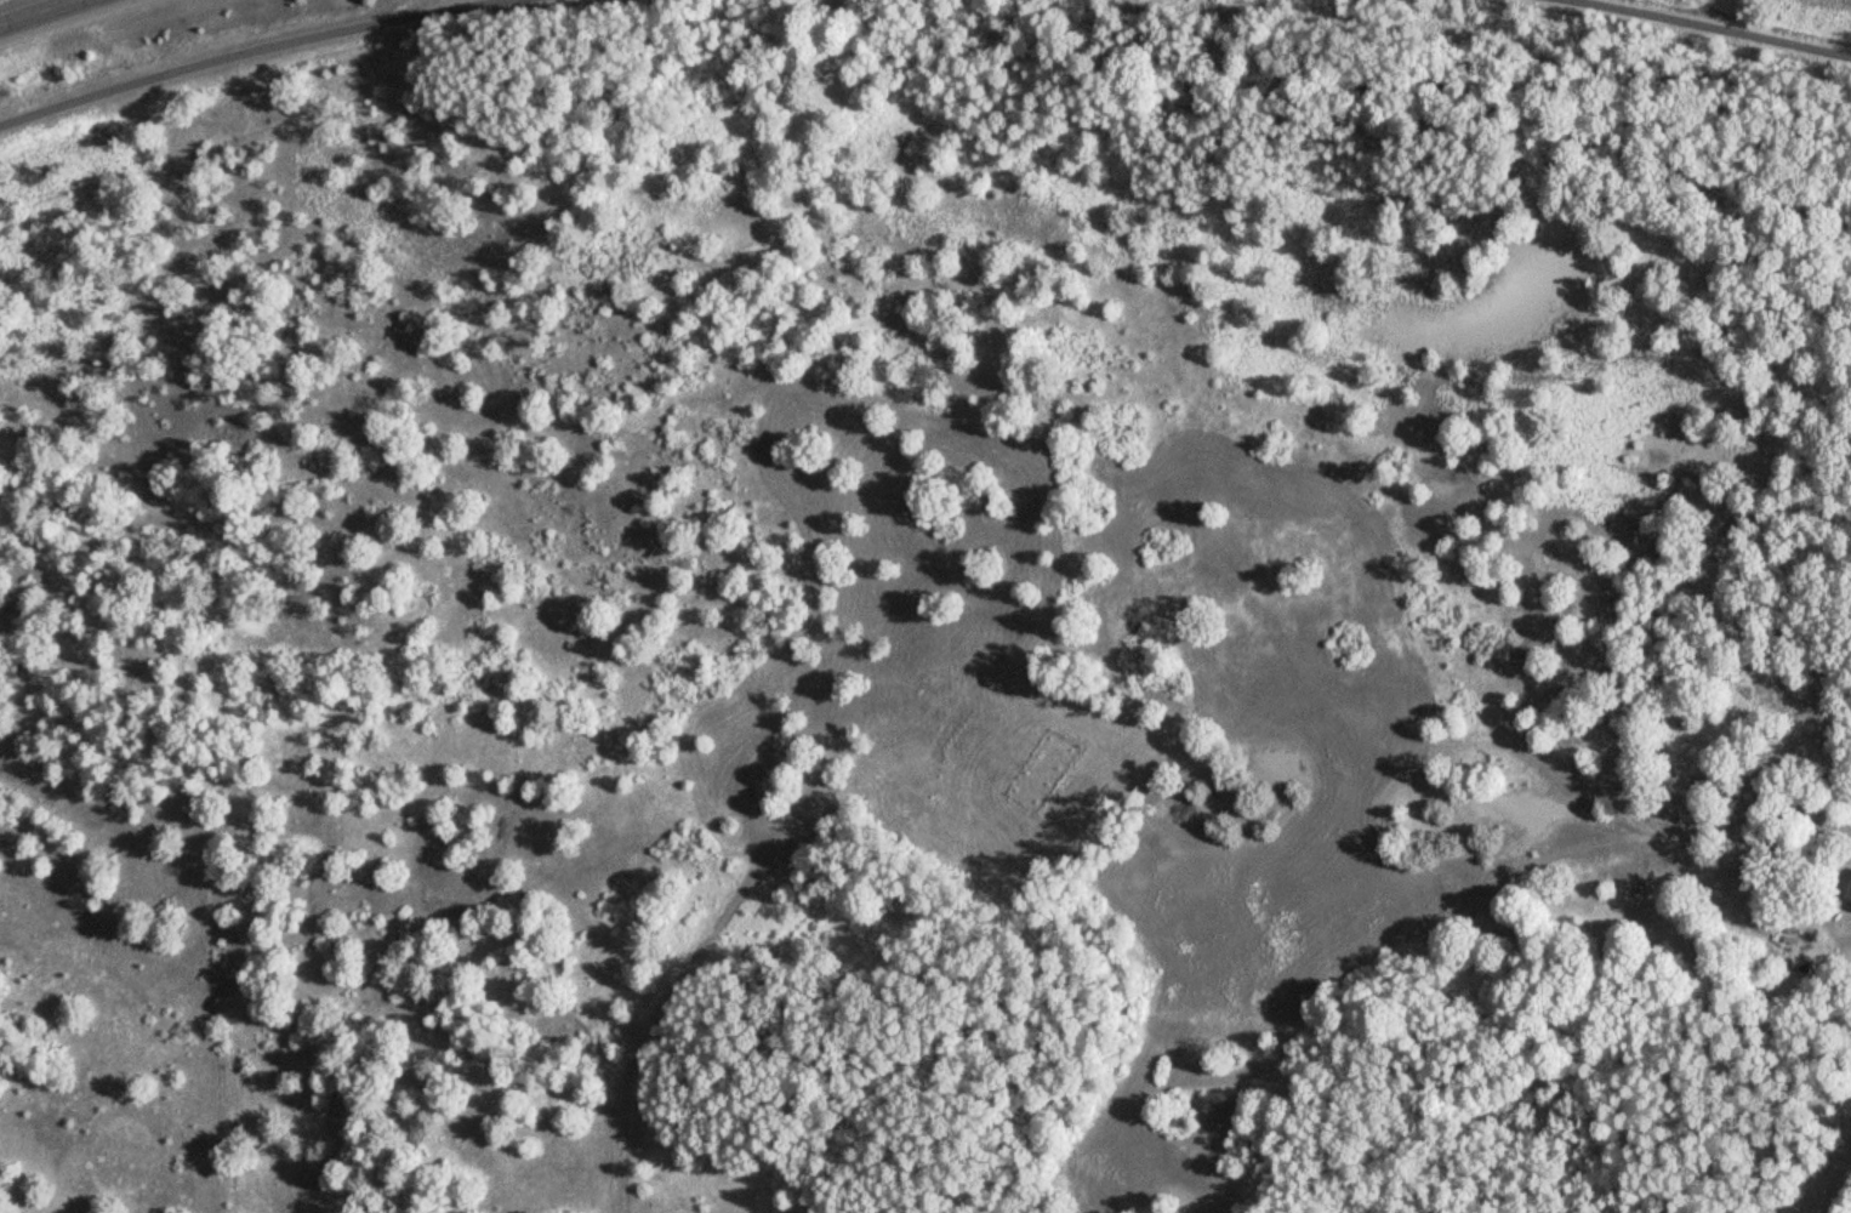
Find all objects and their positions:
road: (39, 11)
road: (1708, 25)
road: (245, 52)
building: (1850, 900)

